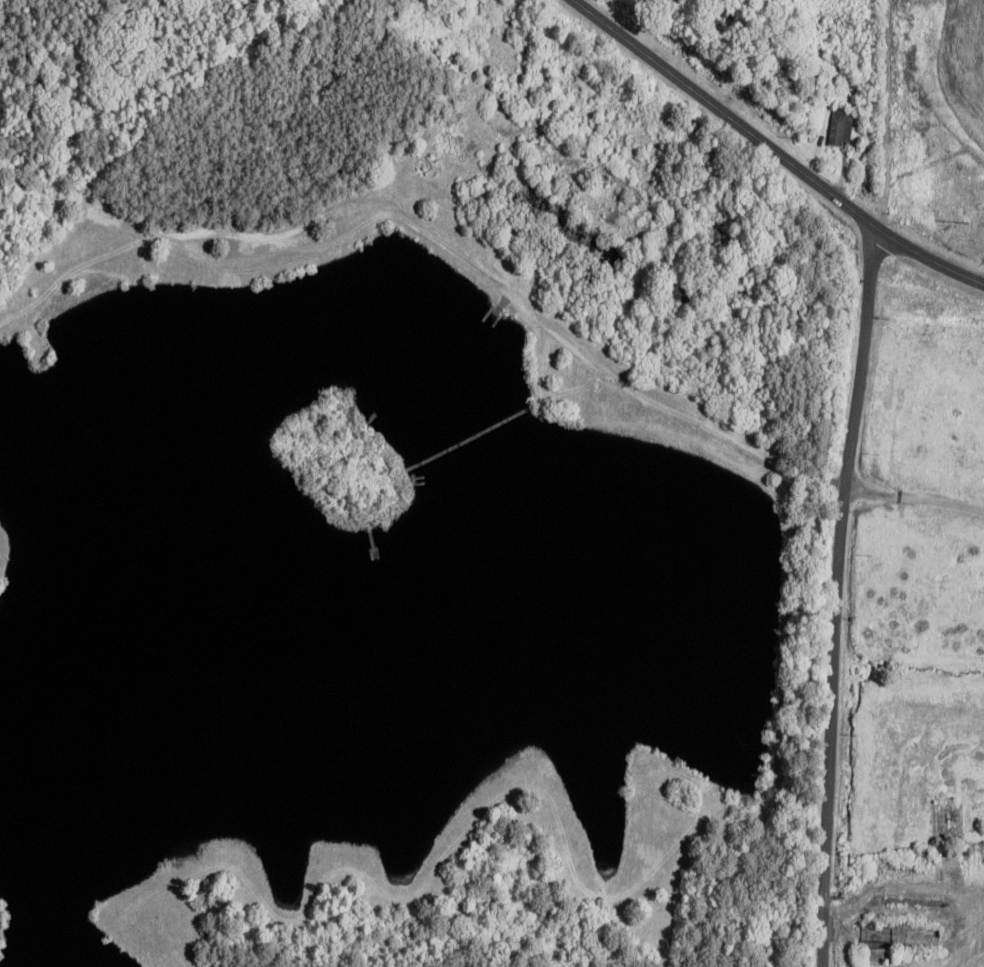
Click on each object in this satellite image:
building: (843, 128)
road: (773, 149)
road: (915, 499)
road: (835, 596)
building: (882, 955)

